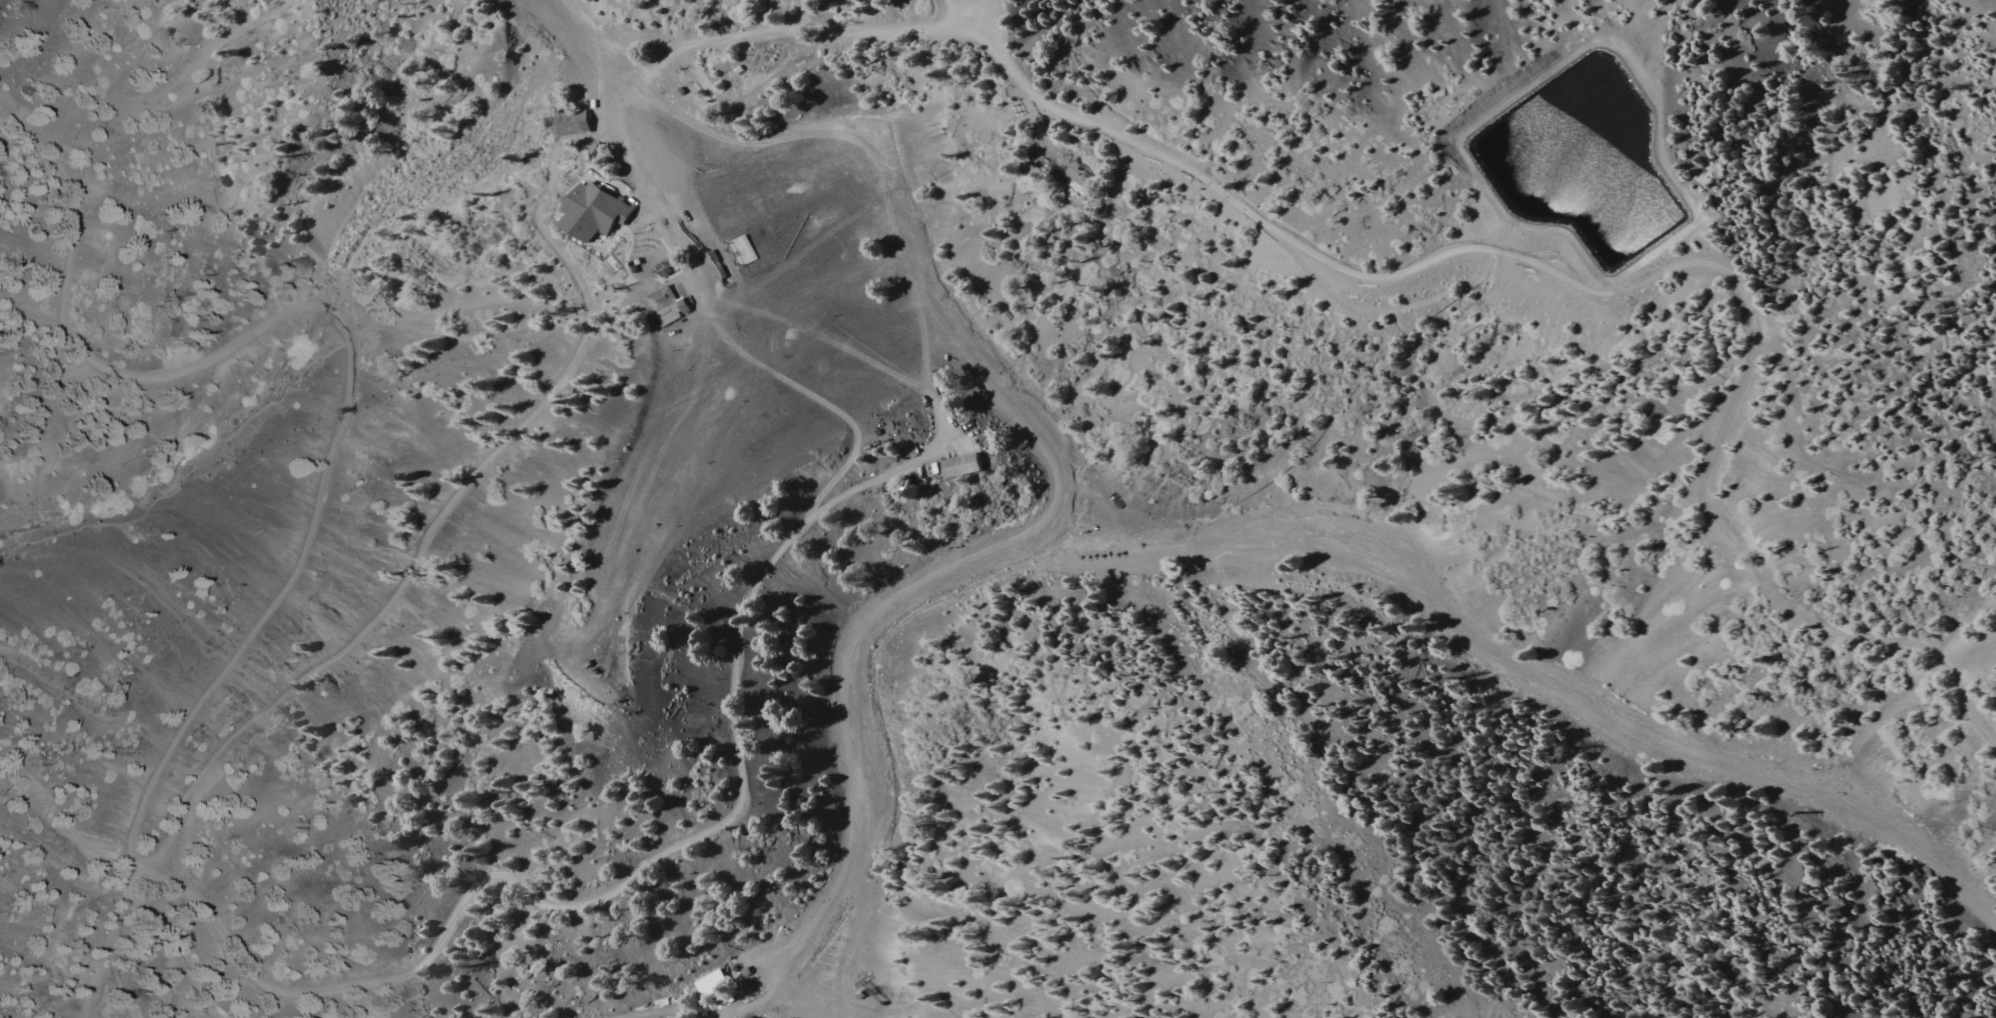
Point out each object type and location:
road: (950, 12)
road: (973, 12)
road: (795, 37)
road: (601, 45)
aerialway pylon: (680, 66)
building: (573, 123)
road: (823, 129)
building: (594, 210)
road: (724, 261)
building: (661, 271)
aerialway pylon: (621, 289)
road: (1622, 293)
building: (660, 298)
building: (681, 306)
aerialway pylon: (570, 311)
road: (827, 338)
road: (924, 340)
road: (344, 350)
aerialway pylon: (337, 412)
road: (163, 439)
building: (957, 467)
road: (868, 484)
road: (458, 488)
ski resort: (927, 540)
aerialway pylon: (624, 697)
aerialway pylon: (634, 710)
road: (738, 761)
aerialway pylon: (727, 828)

